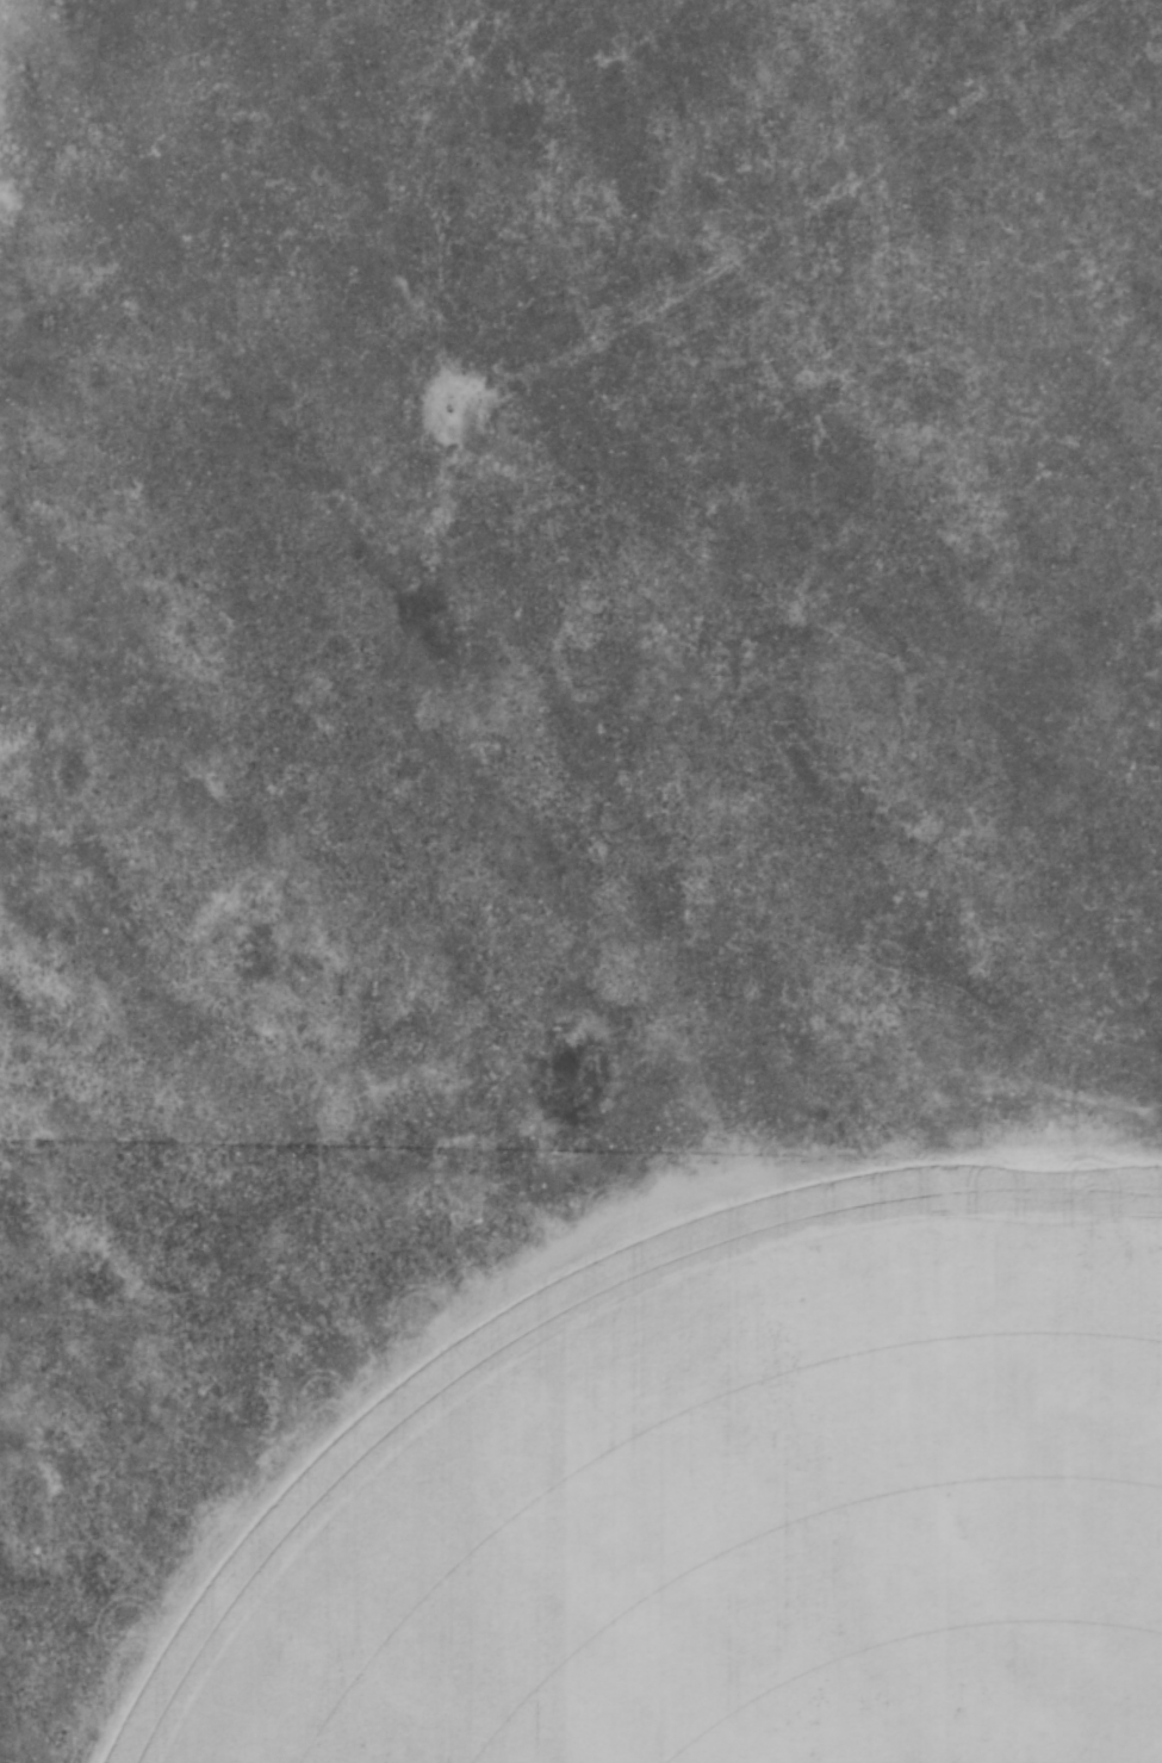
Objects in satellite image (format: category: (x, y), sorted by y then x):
crop: (732, 1507)

